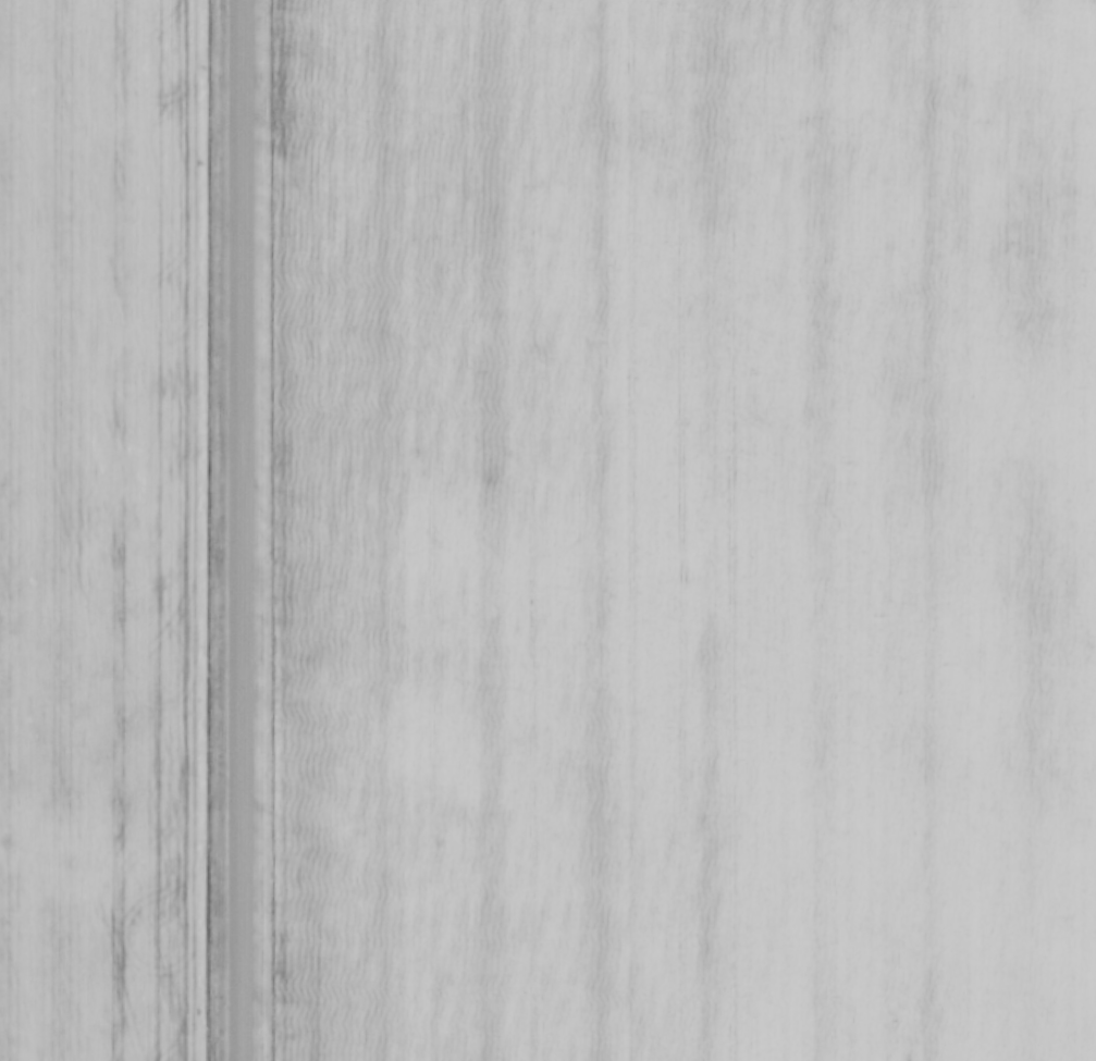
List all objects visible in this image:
road: (242, 530)

